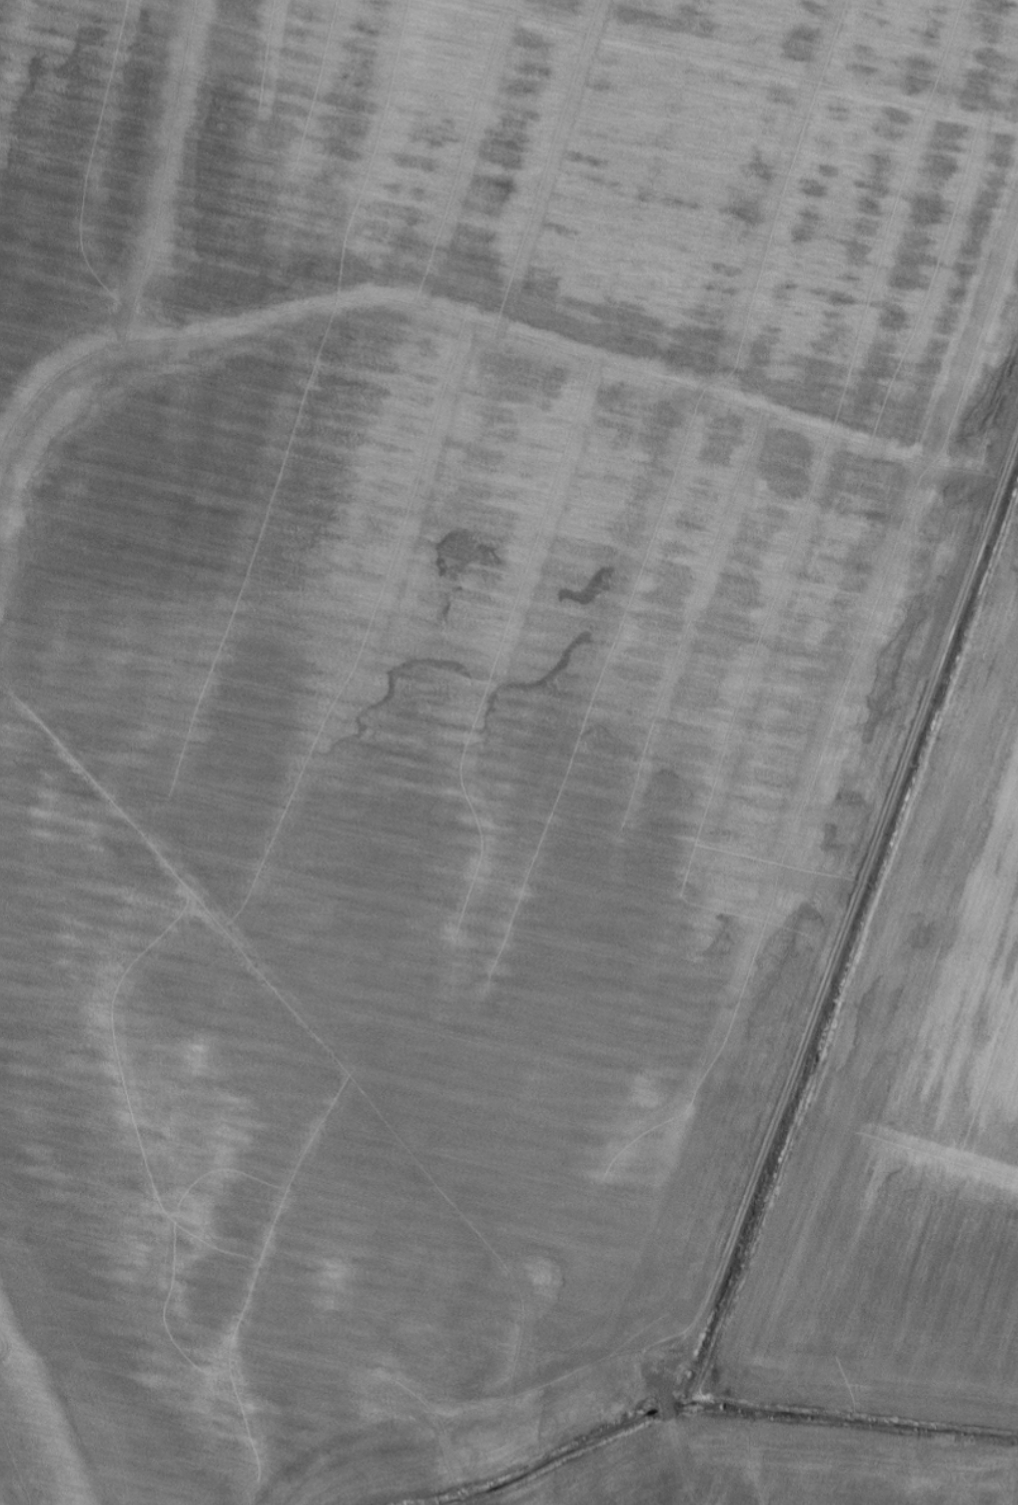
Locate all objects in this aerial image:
road: (168, 232)

